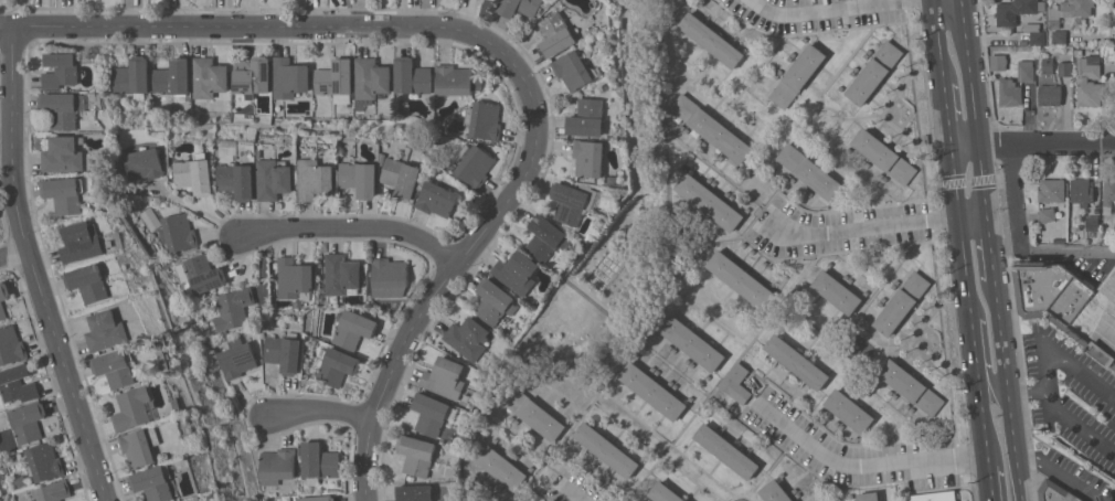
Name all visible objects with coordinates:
road: (947, 1)
building: (509, 7)
building: (530, 7)
road: (841, 10)
building: (1017, 10)
building: (1069, 11)
building: (1079, 23)
road: (248, 28)
building: (554, 35)
road: (938, 35)
building: (1059, 36)
building: (1038, 38)
building: (712, 40)
building: (1079, 52)
building: (999, 62)
building: (1048, 65)
building: (1065, 68)
building: (61, 71)
building: (572, 71)
building: (1026, 71)
building: (874, 73)
building: (132, 76)
building: (252, 76)
building: (798, 76)
building: (172, 77)
building: (208, 77)
building: (412, 77)
building: (289, 78)
building: (336, 81)
building: (370, 81)
building: (456, 81)
building: (1089, 81)
building: (1010, 93)
building: (1050, 95)
road: (946, 108)
road: (975, 108)
building: (61, 109)
building: (587, 118)
building: (485, 120)
building: (712, 128)
road: (1032, 141)
building: (64, 154)
building: (884, 156)
building: (588, 158)
building: (145, 164)
building: (475, 166)
building: (809, 171)
building: (195, 174)
building: (316, 178)
building: (360, 178)
building: (402, 178)
building: (275, 179)
building: (238, 181)
building: (1052, 190)
building: (1081, 191)
building: (1108, 191)
building: (63, 194)
building: (437, 199)
building: (573, 201)
building: (709, 202)
road: (195, 210)
building: (1048, 214)
building: (150, 218)
road: (973, 218)
building: (1092, 226)
parking lot: (835, 228)
road: (861, 228)
road: (960, 228)
road: (350, 230)
building: (178, 232)
building: (546, 237)
building: (82, 242)
road: (12, 250)
road: (991, 254)
road: (1053, 254)
road: (453, 262)
road: (32, 269)
building: (517, 271)
building: (203, 274)
building: (341, 274)
building: (389, 277)
building: (294, 279)
building: (741, 279)
building: (88, 283)
building: (837, 291)
building: (3, 297)
building: (493, 301)
building: (902, 302)
building: (1070, 303)
building: (232, 308)
building: (353, 329)
building: (107, 331)
building: (467, 338)
building: (691, 341)
building: (11, 345)
road: (975, 350)
building: (285, 352)
building: (237, 358)
building: (796, 361)
building: (338, 366)
building: (116, 367)
building: (444, 379)
road: (1092, 379)
building: (735, 383)
building: (18, 384)
road: (994, 385)
building: (912, 387)
road: (1029, 390)
building: (652, 391)
road: (1009, 395)
building: (134, 408)
road: (316, 411)
building: (849, 411)
building: (533, 413)
road: (1061, 413)
building: (429, 414)
parking lot: (1071, 414)
road: (983, 419)
building: (28, 422)
building: (142, 446)
building: (606, 449)
building: (726, 450)
parking lot: (857, 451)
building: (416, 455)
building: (45, 461)
building: (319, 461)
building: (278, 463)
road: (866, 463)
building: (502, 468)
road: (1061, 475)
road: (988, 478)
building: (156, 483)
parking lot: (574, 488)
building: (52, 491)
building: (415, 492)
building: (775, 492)
building: (1055, 492)
building: (665, 493)
road: (575, 494)
building: (869, 495)
building: (935, 495)
building: (318, 498)
building: (185, 500)

